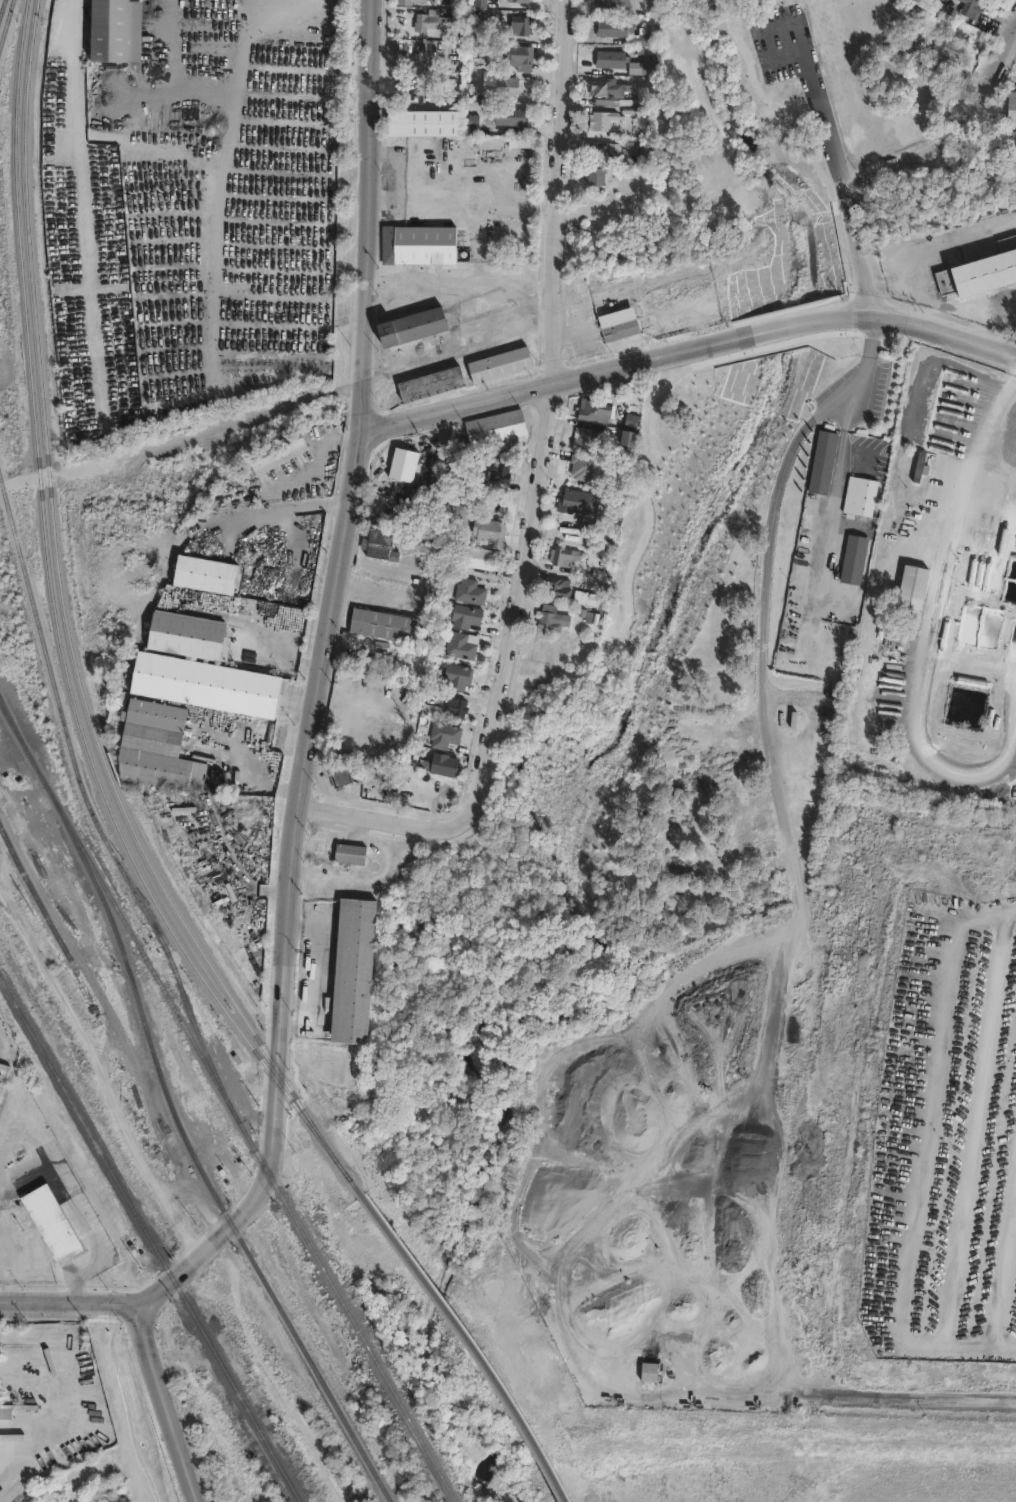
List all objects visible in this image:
building: (521, 1)
building: (410, 2)
building: (961, 2)
building: (480, 4)
building: (613, 6)
building: (972, 6)
railway: (4, 14)
building: (429, 20)
building: (520, 25)
building: (614, 28)
building: (109, 30)
railway: (8, 31)
building: (639, 40)
parking lot: (782, 45)
building: (515, 56)
building: (609, 60)
building: (649, 66)
building: (505, 86)
building: (606, 87)
building: (475, 92)
building: (644, 94)
park: (768, 101)
building: (1009, 113)
building: (510, 117)
building: (601, 119)
building: (422, 123)
road: (958, 125)
building: (524, 143)
building: (598, 149)
road: (846, 168)
building: (595, 175)
building: (645, 187)
road: (367, 216)
building: (419, 244)
building: (976, 279)
road: (460, 283)
building: (616, 320)
building: (412, 326)
road: (688, 347)
building: (500, 364)
building: (431, 384)
road: (551, 410)
building: (592, 412)
building: (631, 421)
building: (502, 431)
building: (632, 432)
building: (585, 439)
building: (281, 451)
building: (819, 465)
building: (582, 467)
building: (503, 471)
building: (915, 474)
road: (838, 497)
building: (856, 499)
building: (576, 503)
road: (299, 506)
building: (612, 522)
building: (492, 530)
building: (384, 543)
building: (561, 557)
building: (482, 558)
building: (850, 562)
building: (207, 569)
building: (590, 588)
building: (556, 589)
building: (472, 591)
building: (468, 614)
building: (595, 619)
building: (555, 621)
building: (387, 624)
railway: (67, 625)
railway: (56, 629)
building: (461, 645)
building: (198, 670)
building: (458, 674)
building: (458, 707)
railway: (8, 717)
railway: (8, 719)
road: (310, 729)
building: (446, 734)
building: (157, 746)
railway: (31, 760)
building: (446, 765)
building: (341, 775)
railway: (88, 804)
road: (395, 822)
building: (352, 855)
road: (800, 870)
building: (188, 904)
railway: (140, 950)
road: (429, 959)
building: (355, 972)
railway: (129, 976)
building: (344, 1065)
road: (273, 1101)
road: (976, 1126)
road: (36, 1128)
road: (923, 1158)
railway: (357, 1186)
building: (52, 1223)
railway: (151, 1240)
road: (209, 1246)
road: (1004, 1263)
road: (3, 1302)
road: (43, 1303)
road: (108, 1305)
railway: (344, 1307)
railway: (295, 1336)
railway: (18, 1343)
railway: (471, 1343)
building: (646, 1371)
road: (124, 1400)
road: (162, 1404)
road: (22, 1455)

